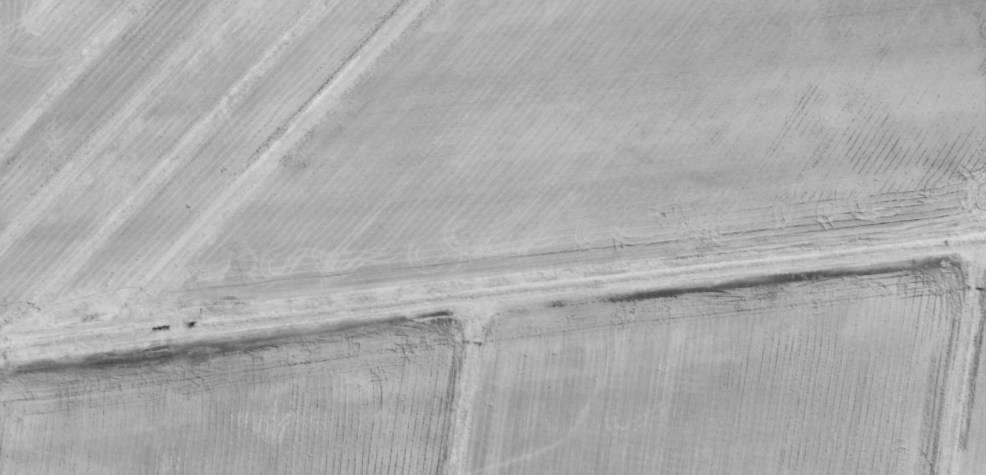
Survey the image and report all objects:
airport runway: (493, 250)

